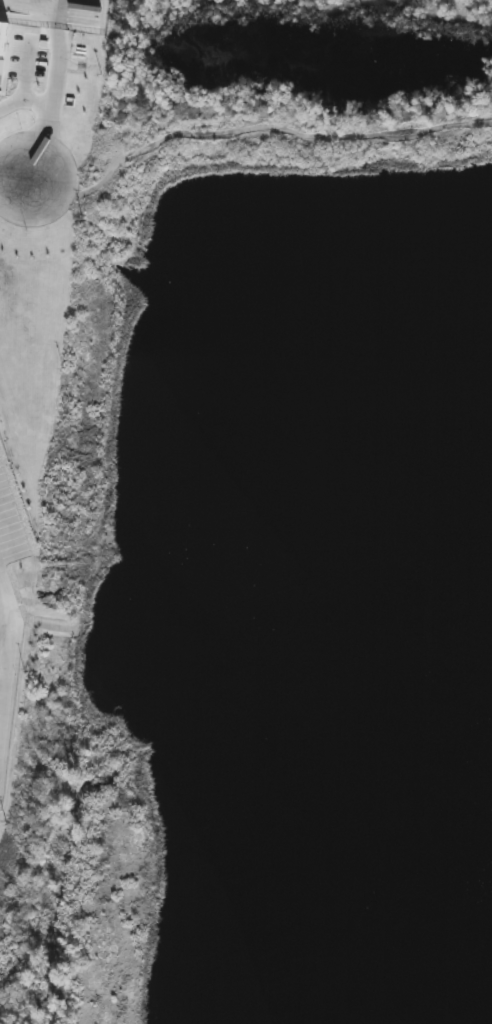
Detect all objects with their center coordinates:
road: (55, 50)
road: (47, 123)
road: (5, 182)
road: (7, 655)

